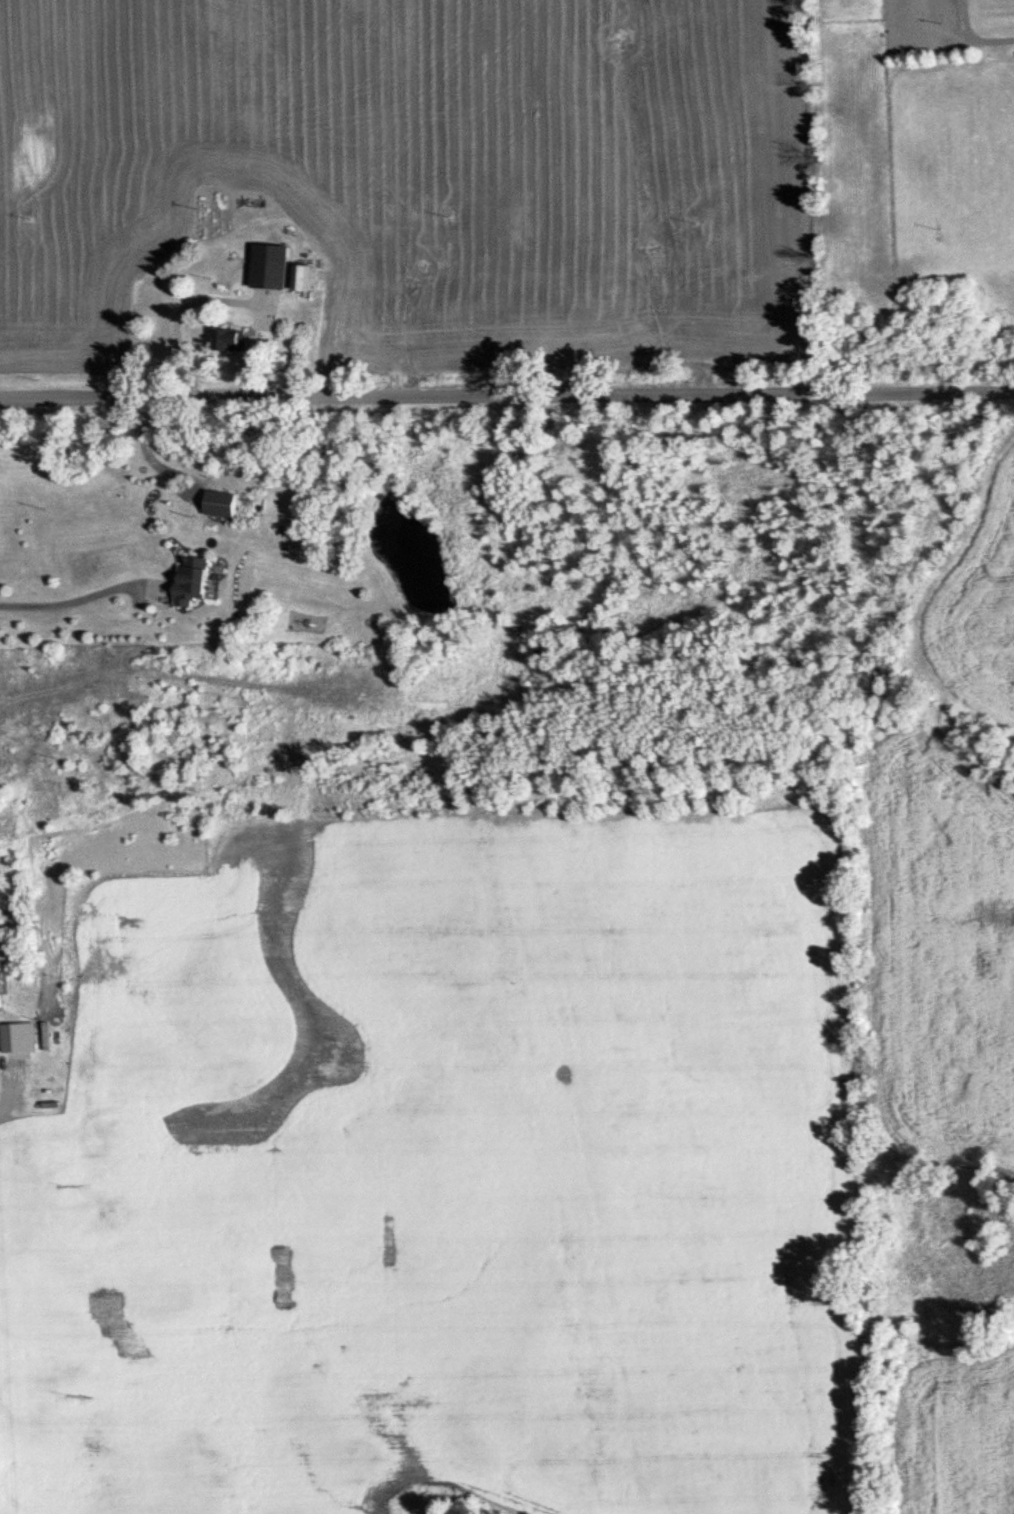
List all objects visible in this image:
building: (265, 266)
building: (297, 277)
building: (223, 339)
road: (507, 393)
building: (185, 581)
road: (73, 606)
building: (15, 1037)
road: (10, 1095)

